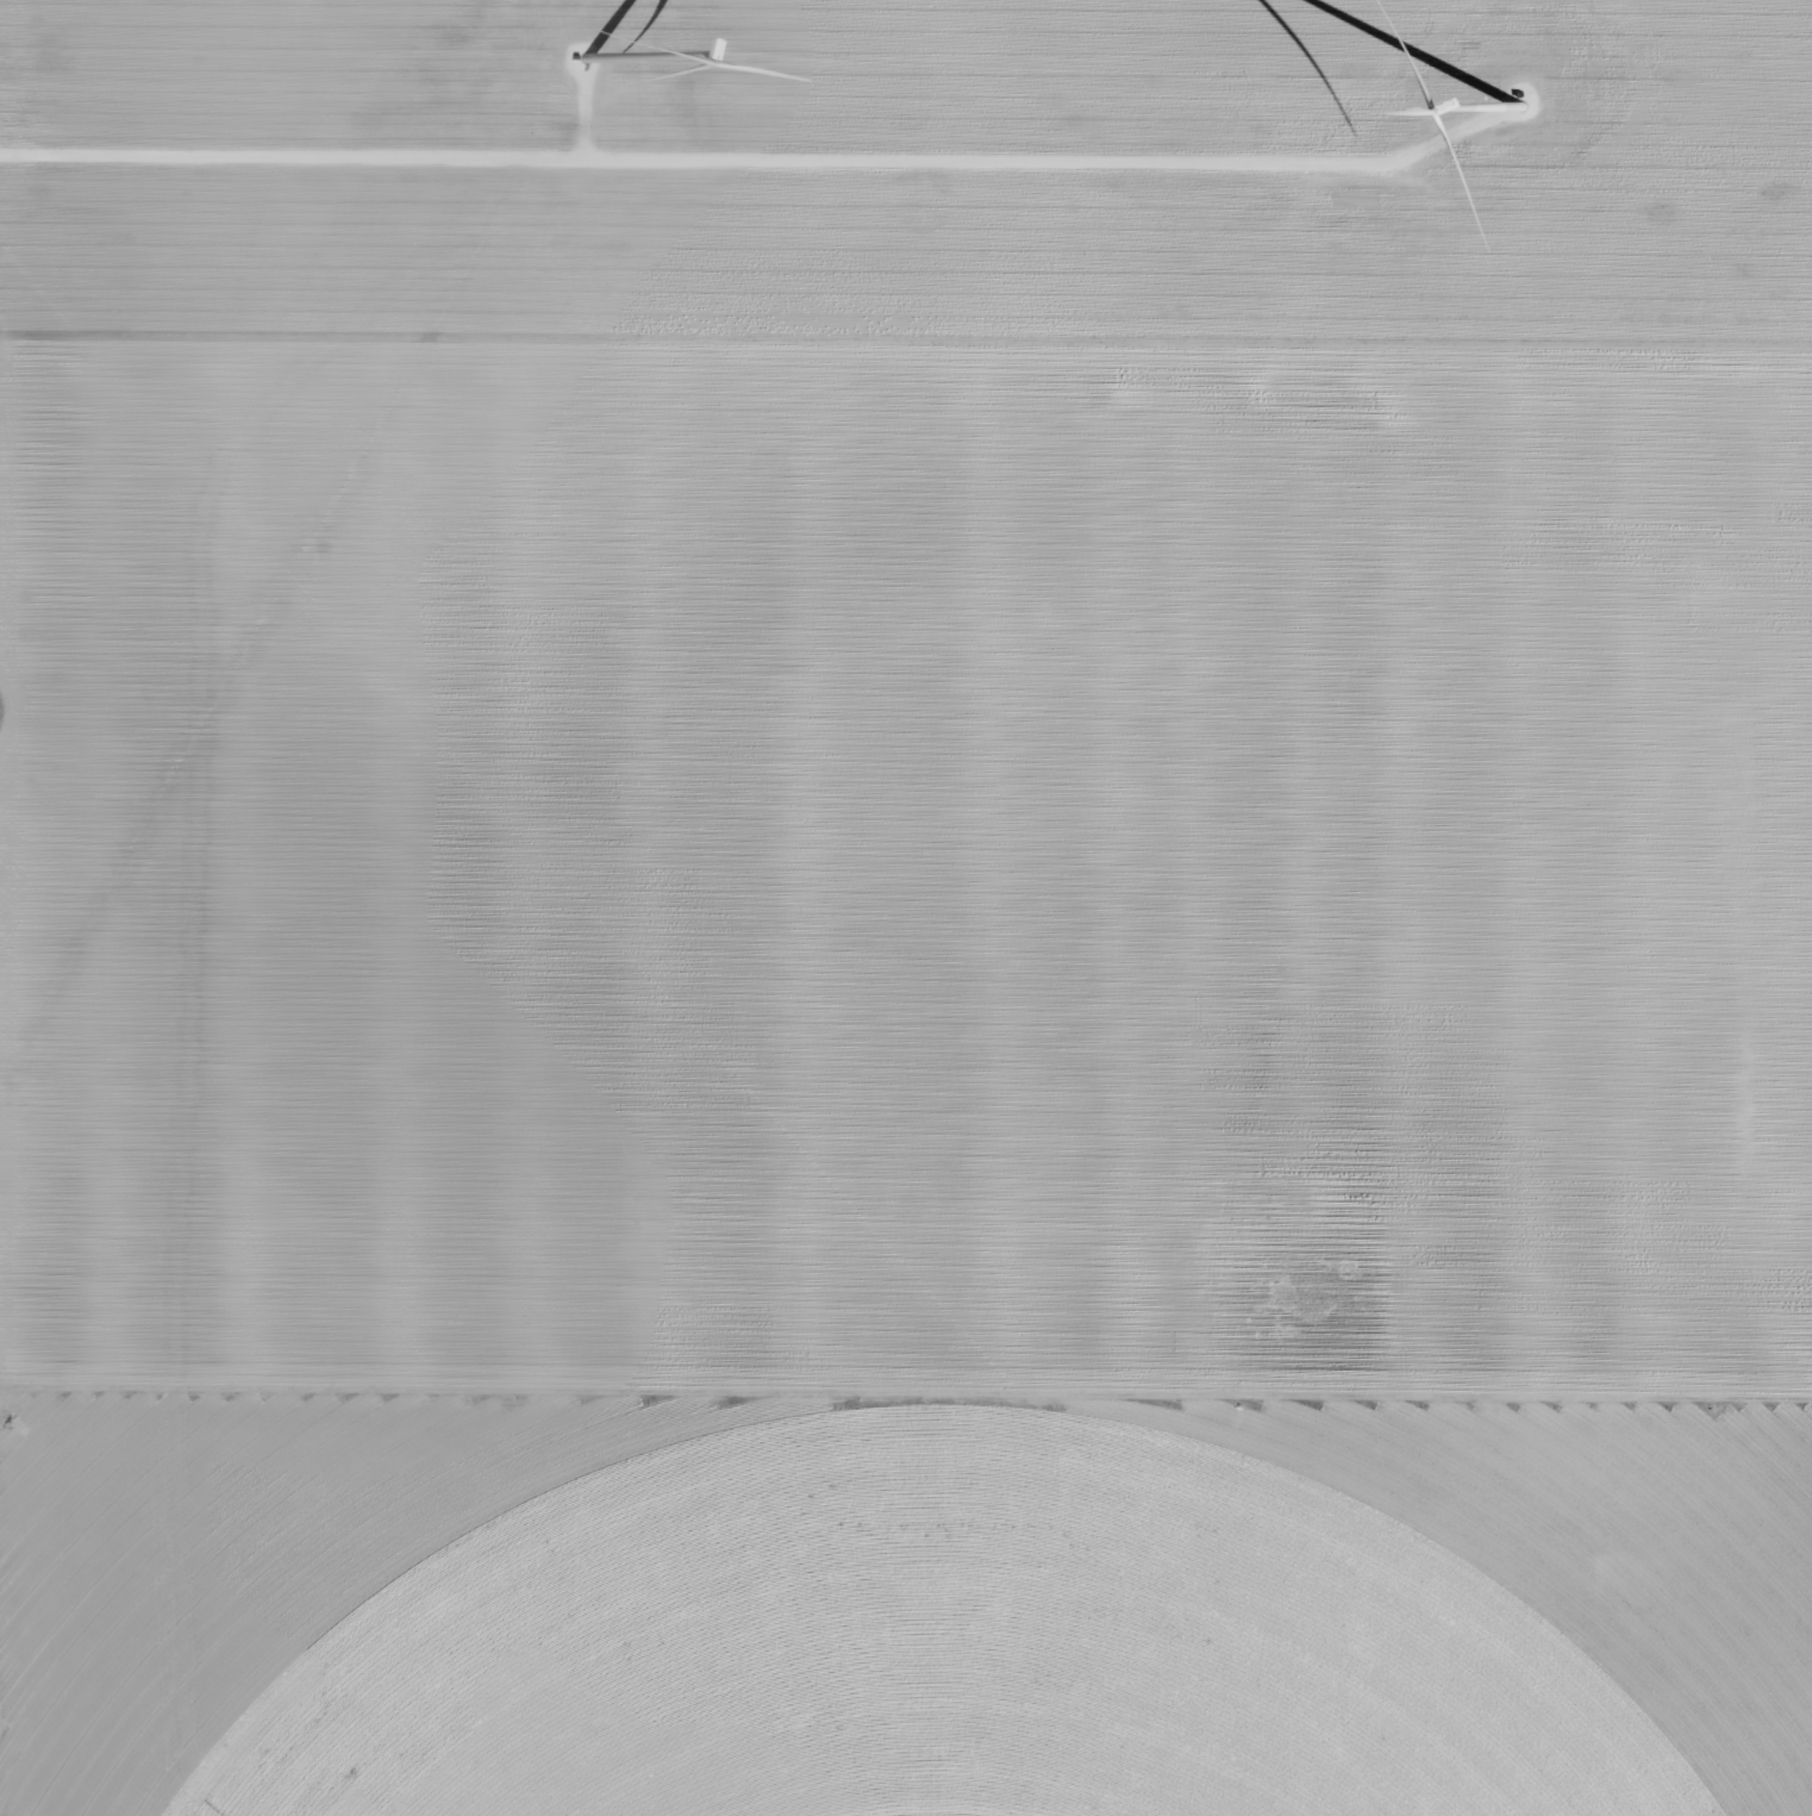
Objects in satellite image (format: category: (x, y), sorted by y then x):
wind turbine: (577, 61)
wind turbine: (1523, 95)

